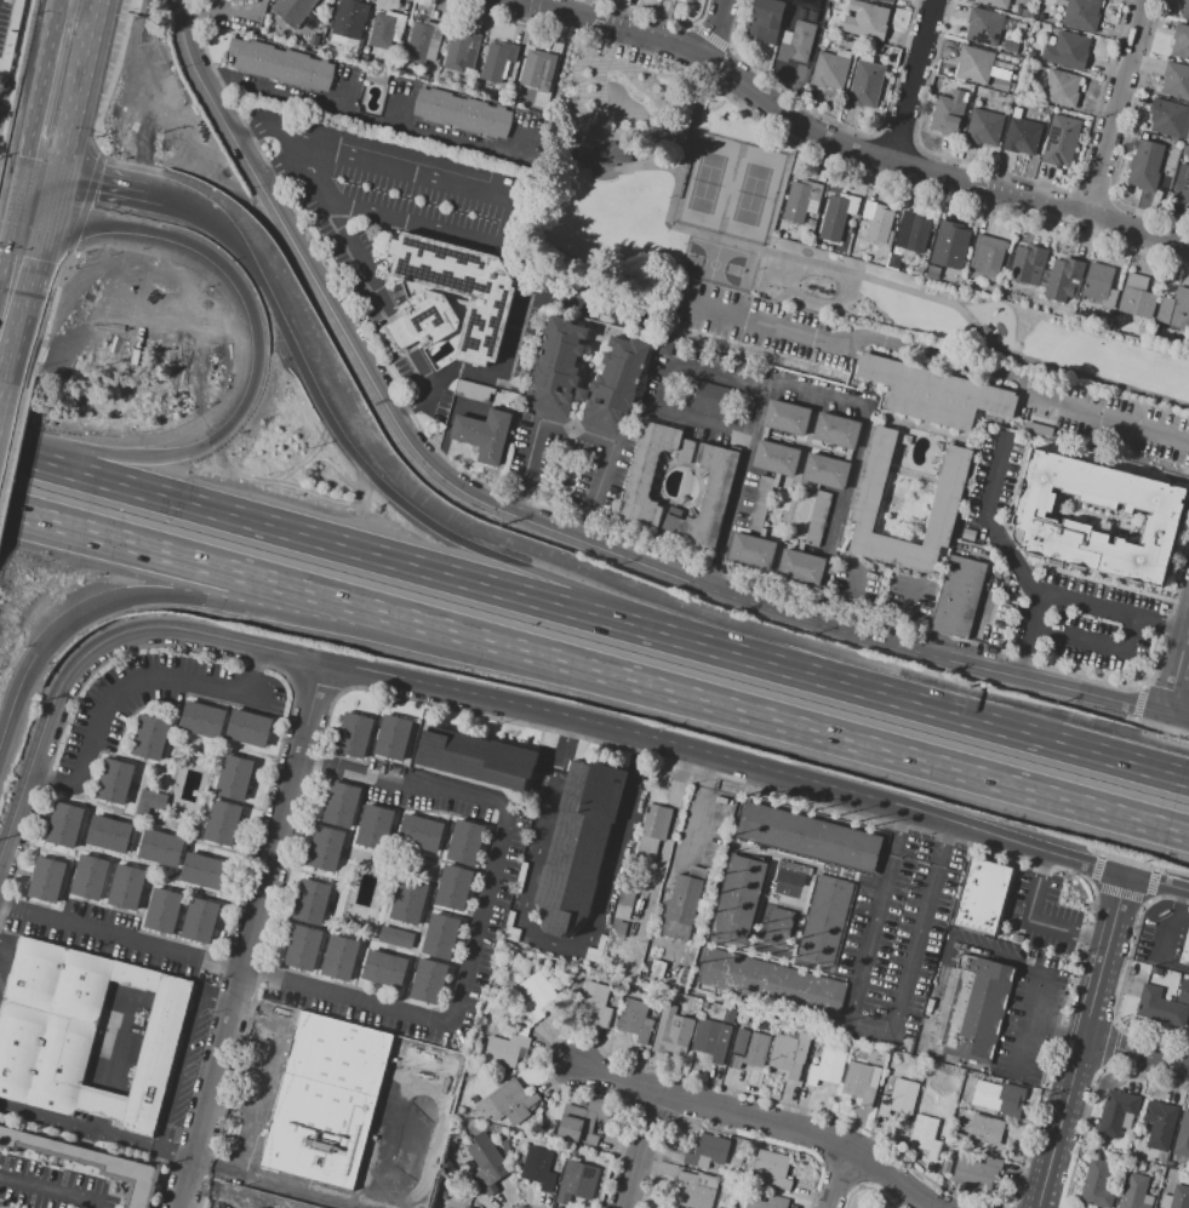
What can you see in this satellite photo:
building: (238, 0)
building: (682, 0)
building: (691, 0)
building: (887, 1)
building: (995, 2)
building: (816, 5)
building: (296, 10)
building: (1185, 10)
road: (645, 13)
building: (1027, 13)
building: (1081, 13)
building: (804, 15)
road: (497, 16)
building: (1041, 16)
building: (349, 18)
building: (816, 18)
building: (765, 19)
building: (865, 19)
building: (1007, 24)
road: (715, 27)
building: (983, 27)
building: (385, 29)
building: (424, 40)
building: (1051, 40)
building: (796, 42)
building: (1181, 42)
building: (878, 47)
building: (1011, 47)
road: (727, 48)
building: (462, 51)
building: (1067, 51)
building: (497, 61)
building: (281, 64)
building: (974, 64)
building: (830, 69)
building: (538, 70)
road: (113, 74)
building: (376, 78)
road: (909, 79)
building: (1176, 80)
building: (867, 82)
building: (1001, 84)
road: (44, 85)
building: (1061, 88)
road: (84, 90)
road: (1114, 107)
building: (462, 113)
building: (1016, 113)
road: (360, 115)
building: (948, 115)
building: (1167, 118)
building: (984, 127)
road: (253, 131)
building: (1188, 134)
building: (1022, 136)
building: (1061, 141)
road: (285, 142)
road: (848, 143)
building: (607, 153)
building: (1144, 165)
road: (282, 170)
traffic signals: (25, 171)
road: (45, 176)
road: (314, 179)
building: (1182, 179)
traffic signals: (65, 181)
road: (505, 184)
road: (105, 189)
park: (730, 190)
road: (21, 193)
road: (87, 200)
building: (801, 200)
road: (61, 201)
road: (161, 204)
building: (839, 211)
traffic signals: (17, 216)
road: (36, 219)
building: (878, 222)
traffic signals: (56, 223)
building: (911, 233)
park: (773, 235)
building: (949, 245)
road: (252, 253)
building: (987, 256)
building: (892, 257)
road: (8, 258)
park: (715, 264)
building: (1027, 264)
road: (211, 269)
road: (854, 274)
building: (1064, 280)
building: (1099, 284)
building: (458, 287)
road: (377, 293)
building: (1136, 297)
road: (36, 304)
building: (1174, 309)
building: (429, 315)
road: (515, 327)
road: (44, 342)
road: (938, 356)
building: (618, 376)
road: (444, 380)
building: (934, 395)
building: (710, 400)
road: (413, 402)
road: (680, 414)
building: (785, 418)
traffic signals: (225, 420)
building: (475, 422)
building: (1039, 425)
road: (10, 429)
building: (836, 430)
road: (577, 431)
road: (748, 441)
building: (585, 450)
road: (116, 456)
road: (15, 458)
building: (777, 458)
road: (854, 463)
building: (650, 470)
building: (825, 471)
building: (869, 486)
building: (710, 497)
road: (6, 499)
building: (759, 504)
road: (988, 519)
building: (1033, 520)
road: (1, 522)
road: (69, 526)
road: (536, 526)
road: (69, 533)
road: (514, 548)
building: (751, 551)
road: (404, 561)
building: (801, 567)
building: (956, 596)
road: (1068, 599)
road: (847, 600)
road: (394, 614)
road: (902, 614)
road: (335, 626)
road: (1096, 641)
traffic signals: (34, 653)
road: (1176, 665)
road: (131, 682)
road: (13, 693)
road: (493, 700)
road: (1176, 716)
building: (202, 720)
road: (990, 725)
building: (247, 728)
road: (1170, 732)
building: (353, 734)
building: (393, 737)
building: (150, 738)
road: (562, 745)
building: (475, 757)
road: (919, 758)
road: (707, 772)
road: (1181, 777)
building: (233, 778)
building: (115, 782)
building: (149, 802)
building: (341, 805)
road: (691, 823)
building: (64, 824)
building: (222, 824)
building: (375, 826)
building: (419, 832)
building: (652, 832)
road: (899, 832)
building: (109, 834)
building: (808, 837)
building: (464, 842)
building: (577, 845)
road: (943, 845)
building: (161, 847)
building: (324, 848)
road: (1155, 869)
building: (791, 870)
building: (202, 871)
building: (90, 876)
building: (789, 877)
building: (46, 878)
road: (1156, 882)
building: (126, 887)
building: (453, 888)
building: (981, 895)
building: (738, 899)
building: (311, 901)
building: (408, 901)
building: (684, 903)
building: (161, 909)
building: (623, 911)
road: (1183, 912)
building: (824, 917)
building: (199, 921)
road: (1031, 924)
road: (1173, 924)
building: (778, 927)
road: (253, 935)
building: (440, 935)
building: (396, 938)
road: (577, 945)
building: (303, 949)
road: (6, 950)
building: (1185, 952)
building: (339, 958)
road: (1177, 963)
building: (384, 969)
road: (1040, 980)
building: (428, 981)
building: (771, 983)
building: (1183, 991)
building: (537, 995)
building: (595, 1003)
building: (1160, 1006)
building: (973, 1007)
building: (693, 1008)
building: (728, 1015)
building: (635, 1019)
road: (439, 1023)
road: (871, 1029)
building: (671, 1032)
road: (1057, 1032)
building: (81, 1034)
building: (710, 1038)
road: (1084, 1041)
building: (507, 1047)
building: (748, 1048)
road: (1137, 1053)
building: (789, 1054)
building: (428, 1063)
building: (827, 1066)
road: (176, 1072)
road: (262, 1074)
building: (861, 1082)
road: (442, 1095)
building: (899, 1098)
building: (1001, 1099)
building: (325, 1100)
building: (507, 1104)
building: (1115, 1112)
road: (762, 1118)
building: (578, 1124)
building: (1160, 1124)
road: (78, 1127)
building: (988, 1132)
building: (925, 1135)
building: (1183, 1137)
road: (638, 1147)
building: (707, 1151)
building: (90, 1162)
building: (487, 1163)
building: (539, 1168)
building: (771, 1170)
building: (974, 1174)
road: (835, 1175)
building: (578, 1180)
parking lot: (56, 1183)
building: (1096, 1184)
road: (285, 1185)
building: (694, 1191)
building: (1133, 1191)
road: (46, 1193)
building: (1179, 1197)
building: (767, 1202)
building: (465, 1207)
building: (670, 1207)
building: (1160, 1207)

